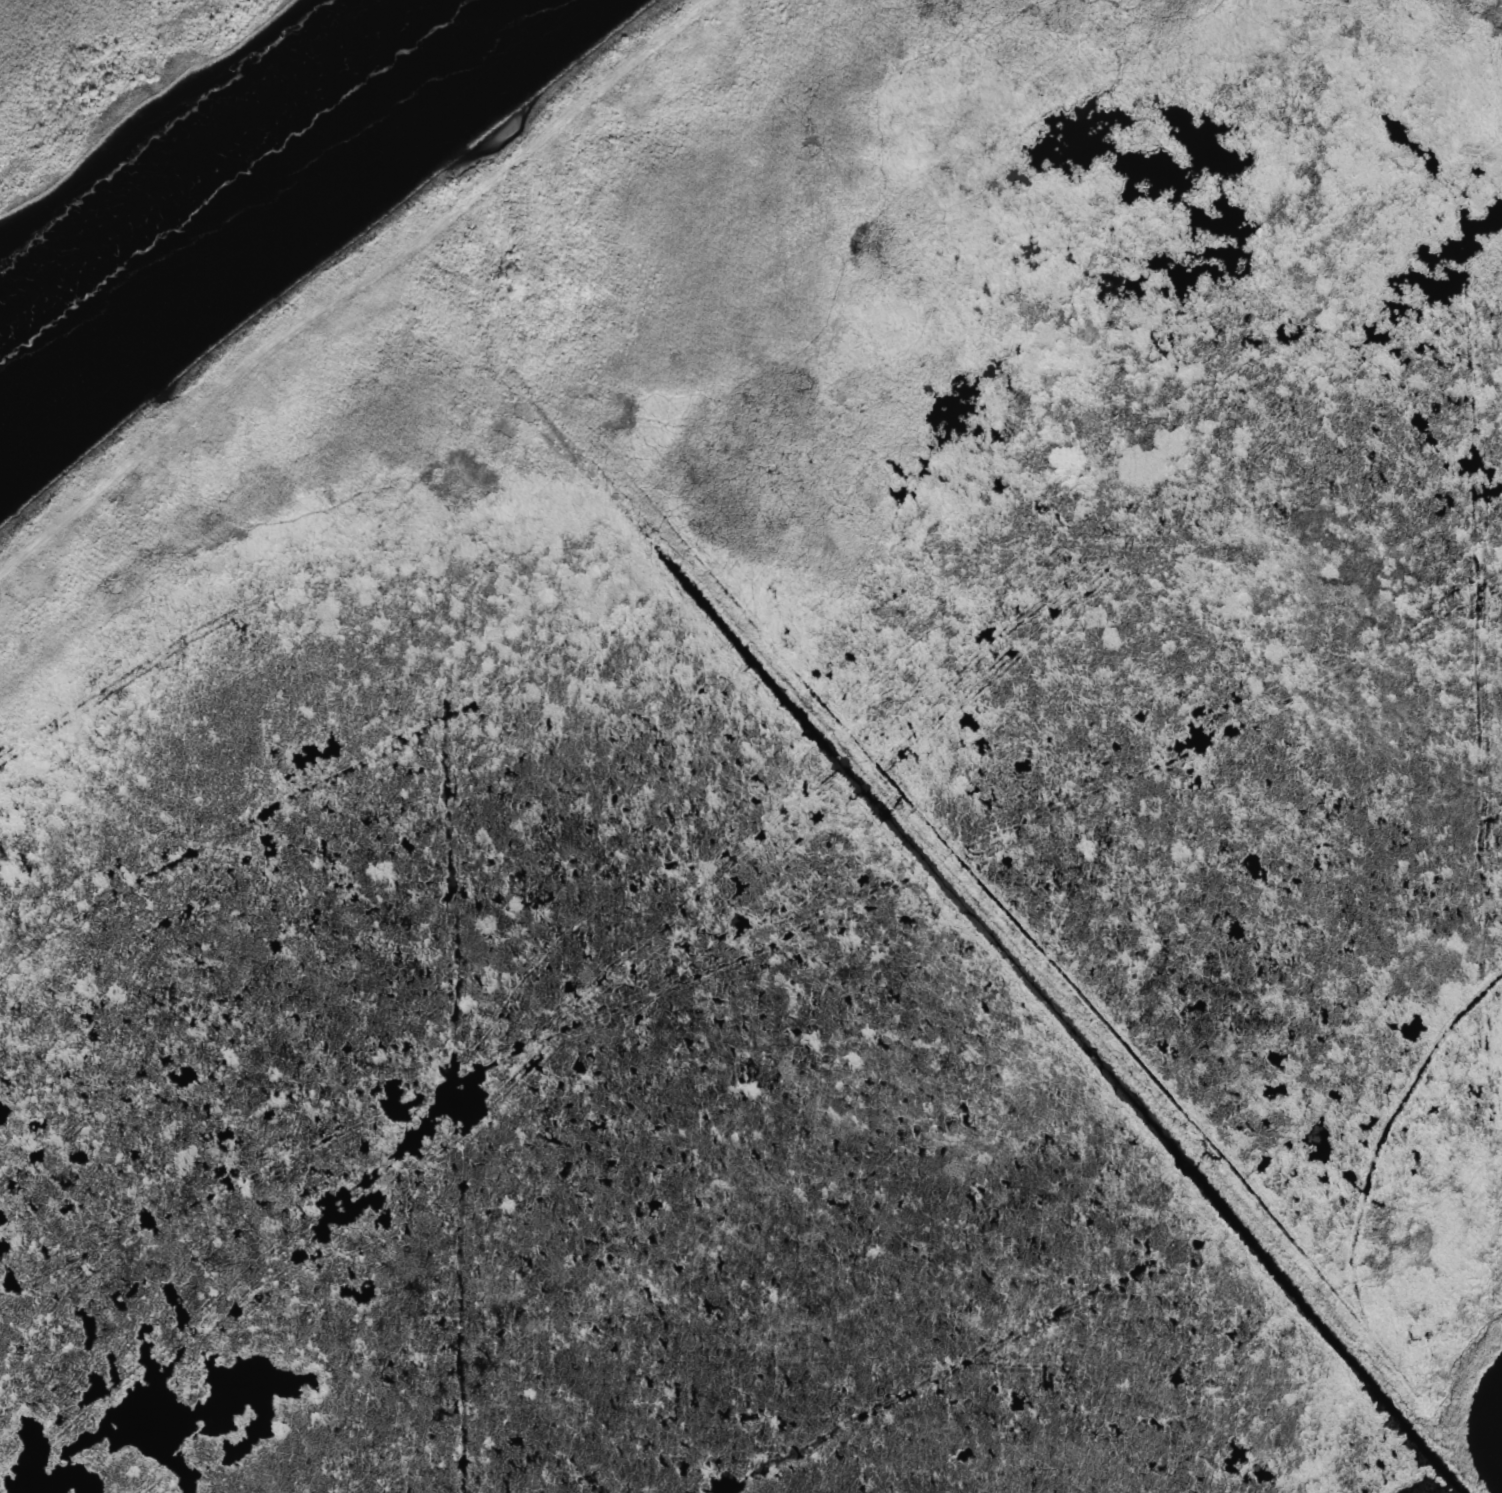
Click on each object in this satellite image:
road: (373, 293)

